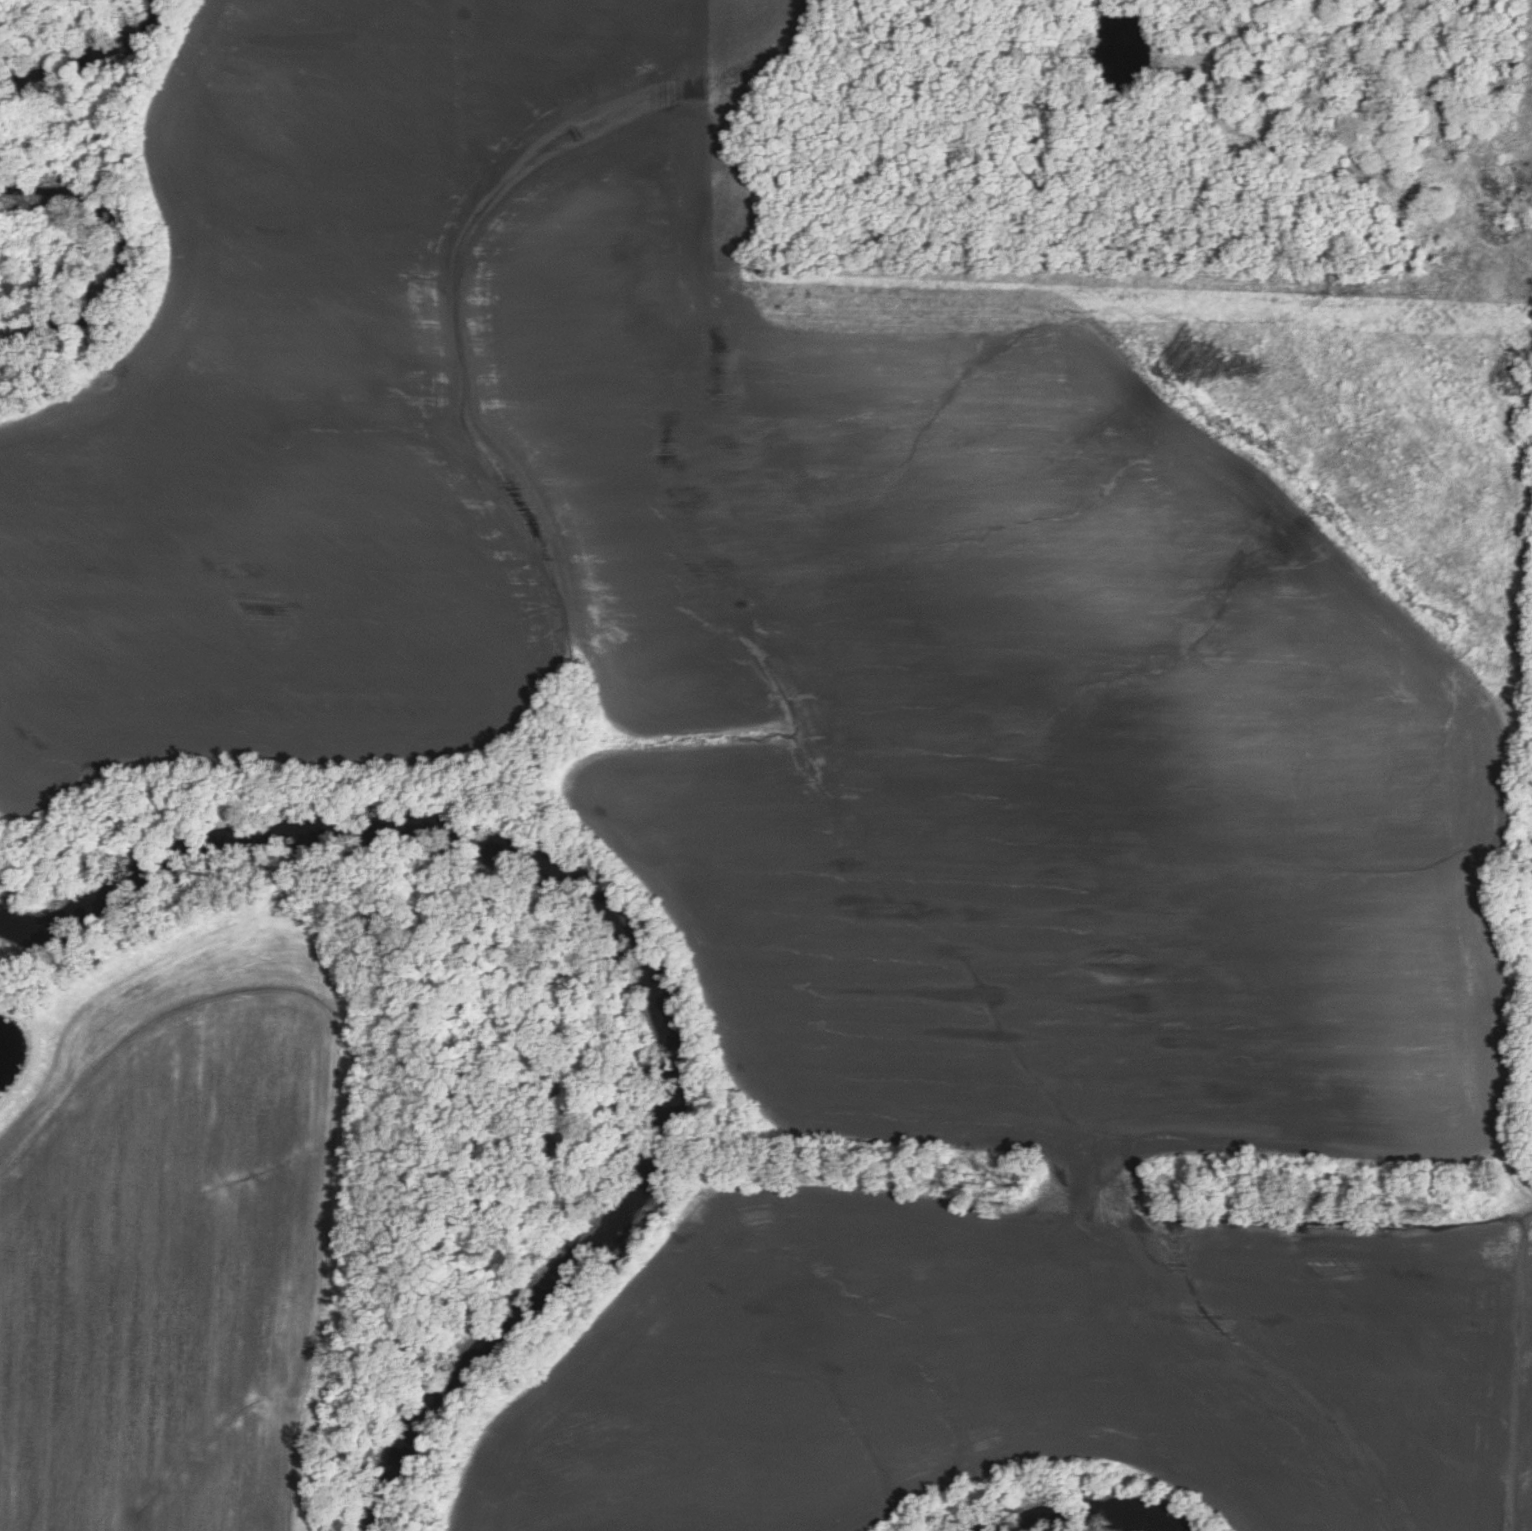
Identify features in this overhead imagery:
river: (1119, 1519)

